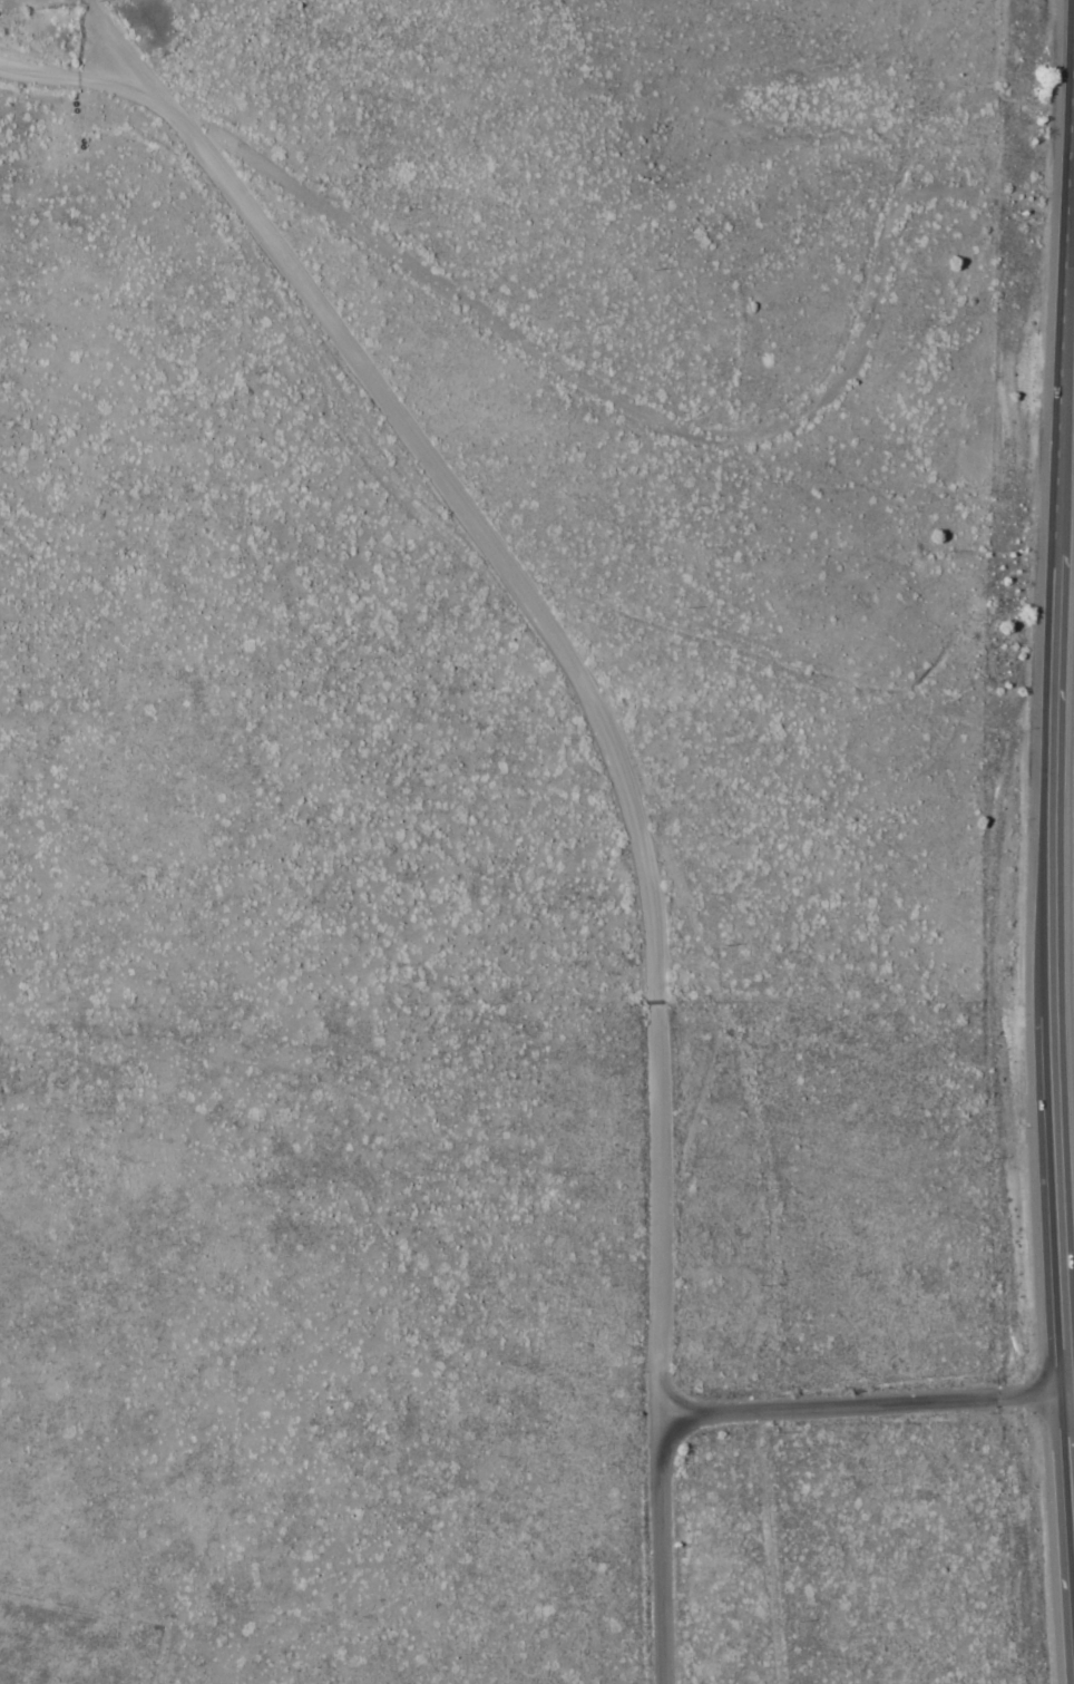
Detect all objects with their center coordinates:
road: (1056, 786)
road: (729, 1410)

